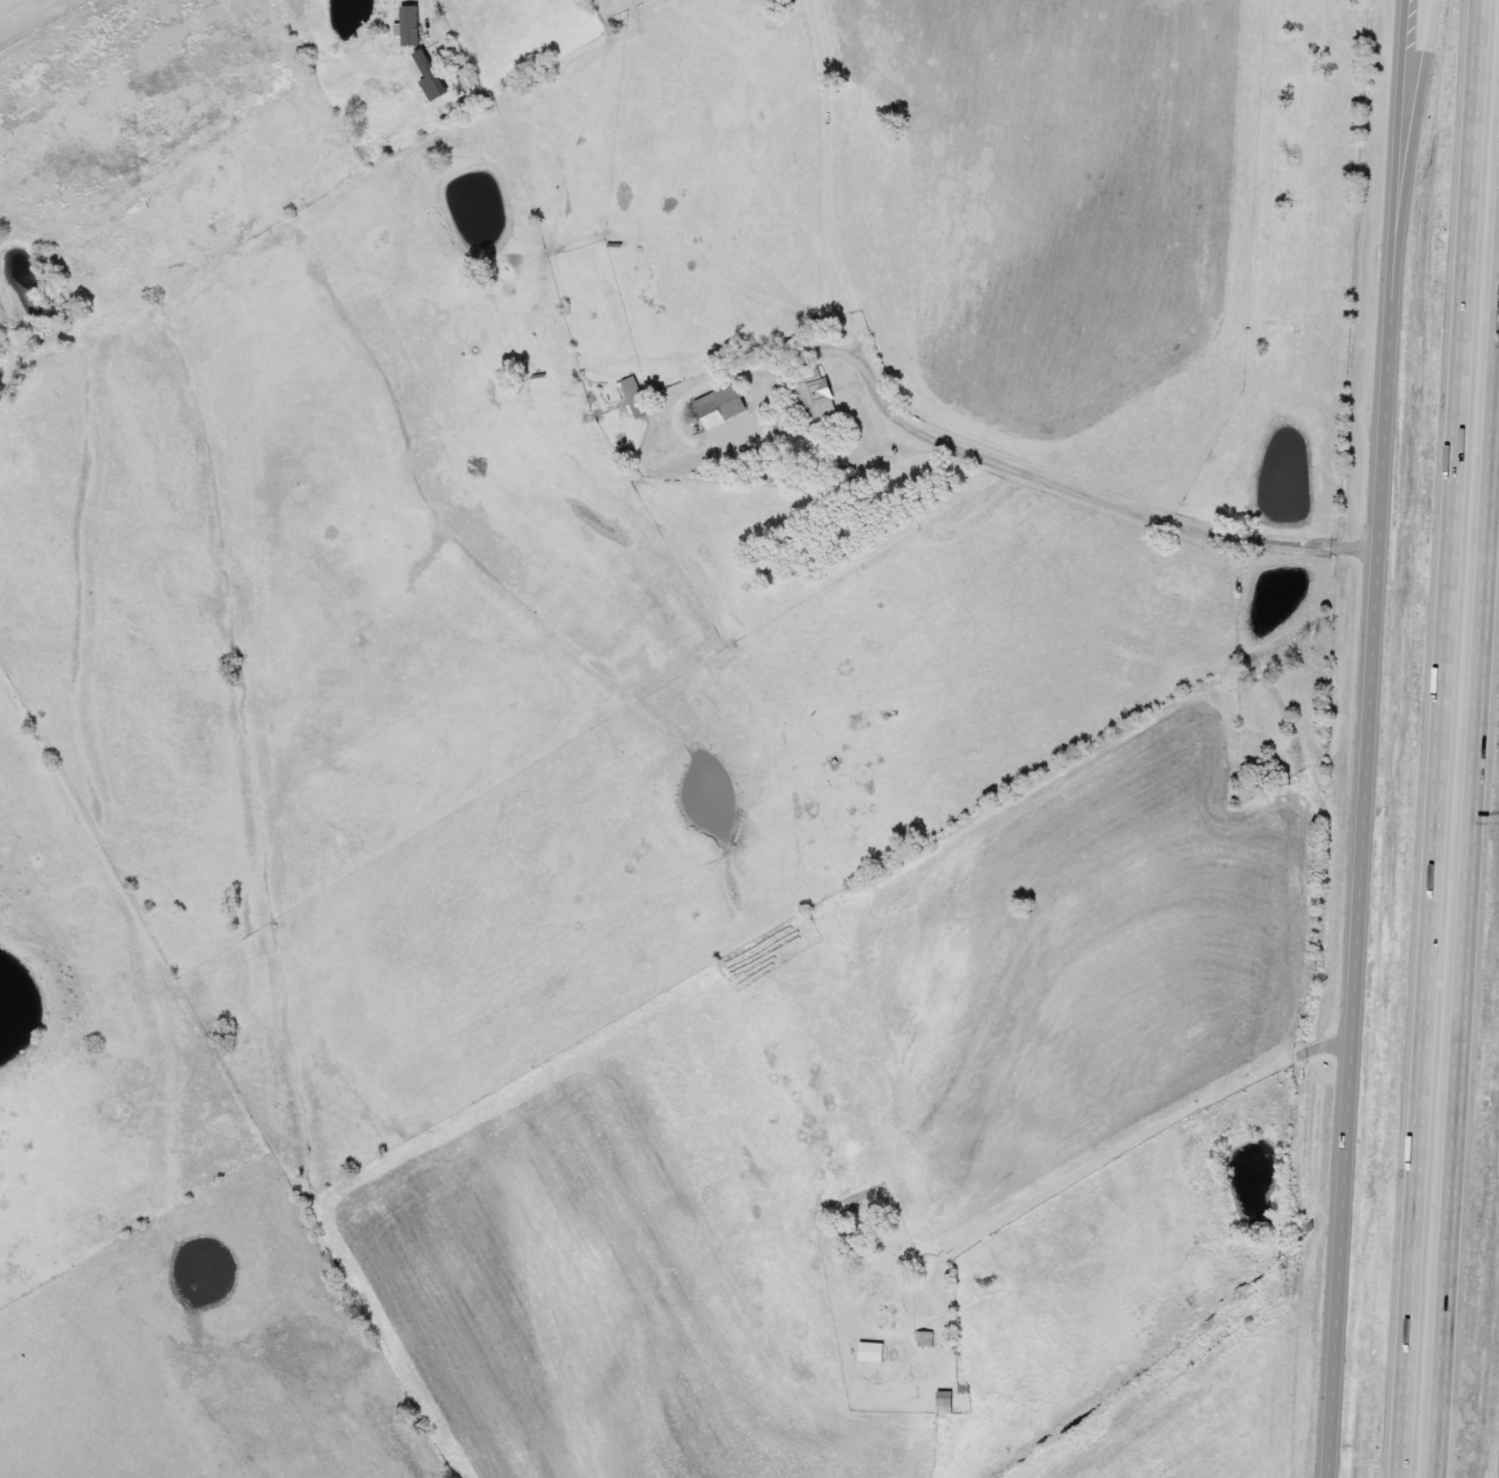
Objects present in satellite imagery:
road: (444, 28)
building: (458, 66)
building: (430, 77)
road: (1402, 224)
building: (635, 396)
building: (815, 396)
building: (721, 405)
building: (1396, 728)
road: (1378, 739)
road: (1445, 739)
road: (1468, 910)
building: (888, 1289)
road: (1058, 1303)
building: (887, 1316)
building: (922, 1338)
building: (943, 1399)

